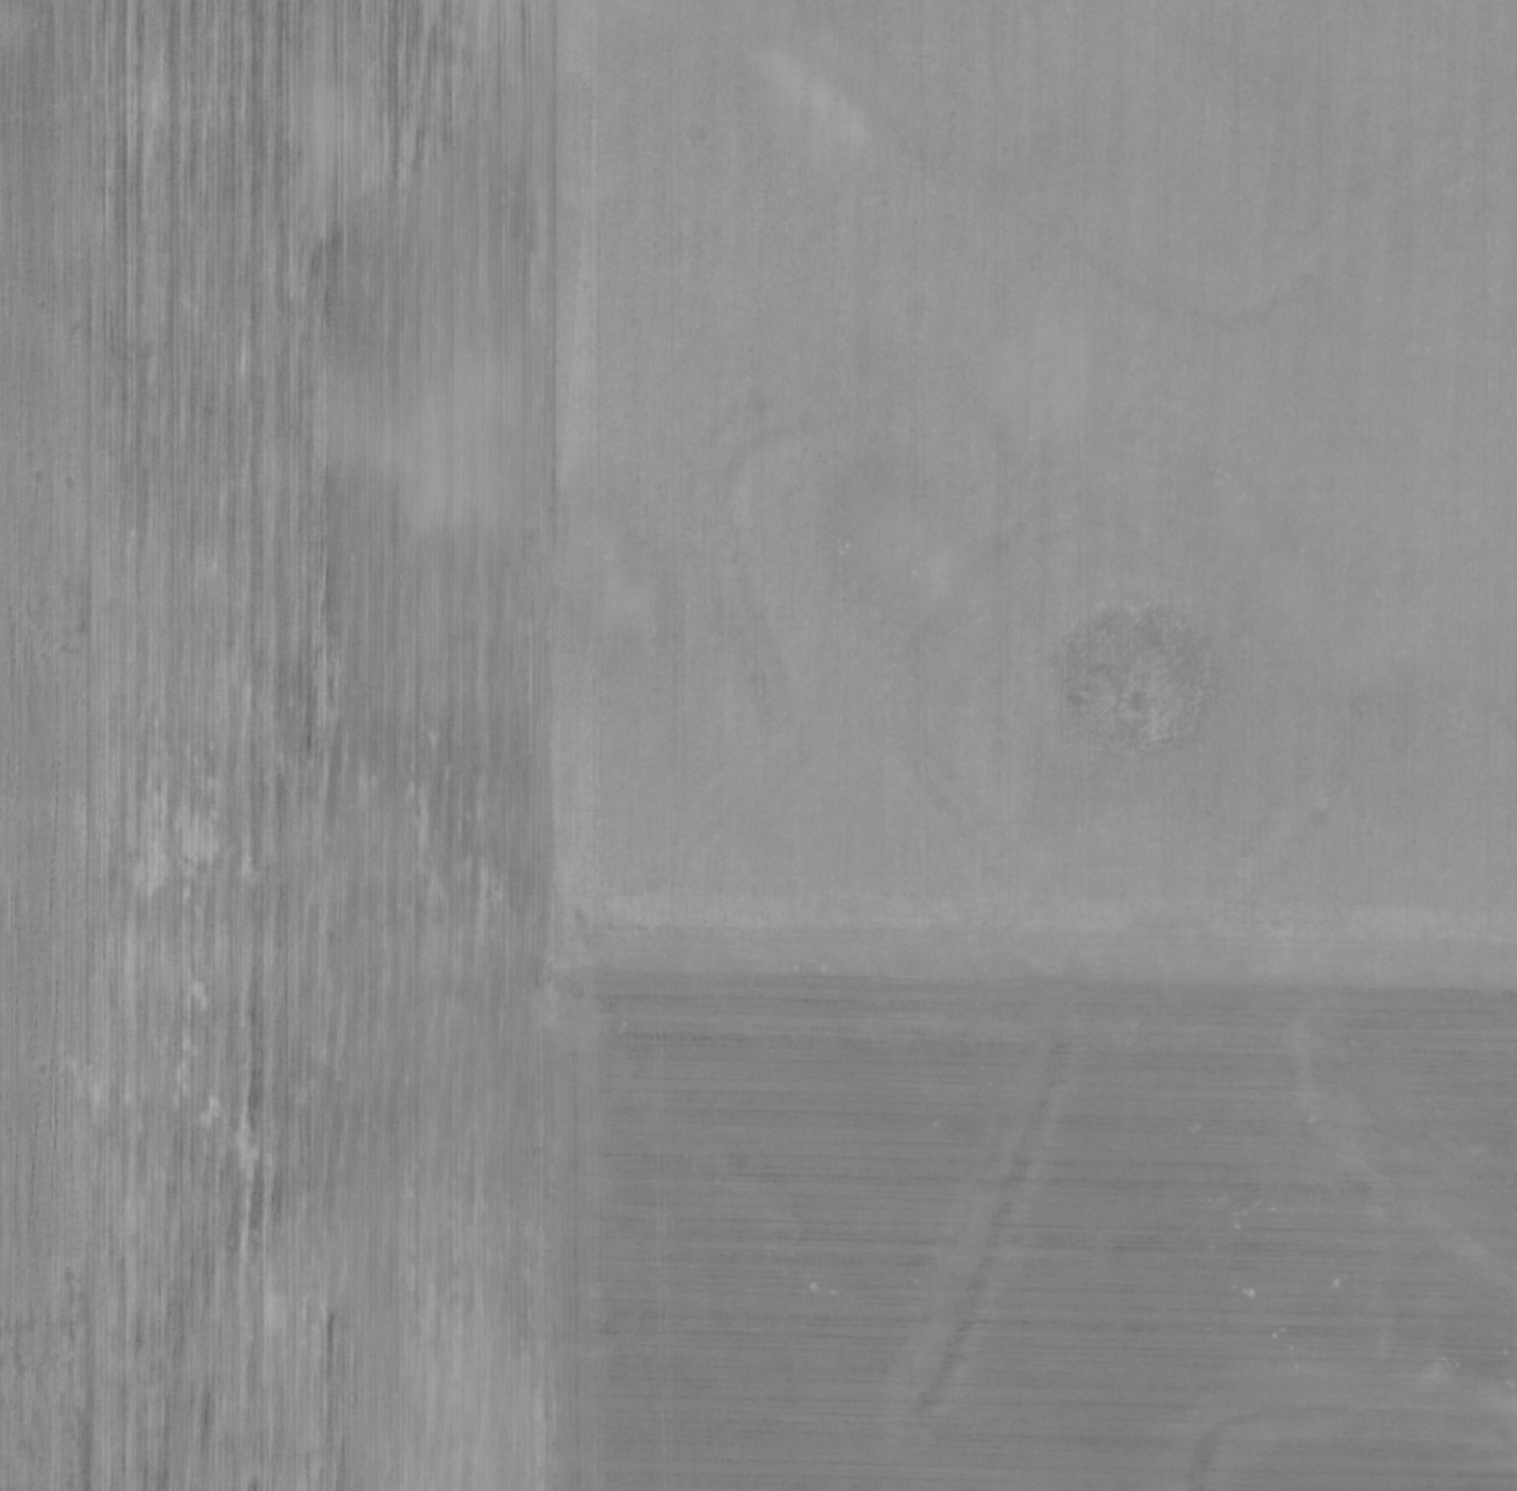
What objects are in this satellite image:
crop: (758, 745)

